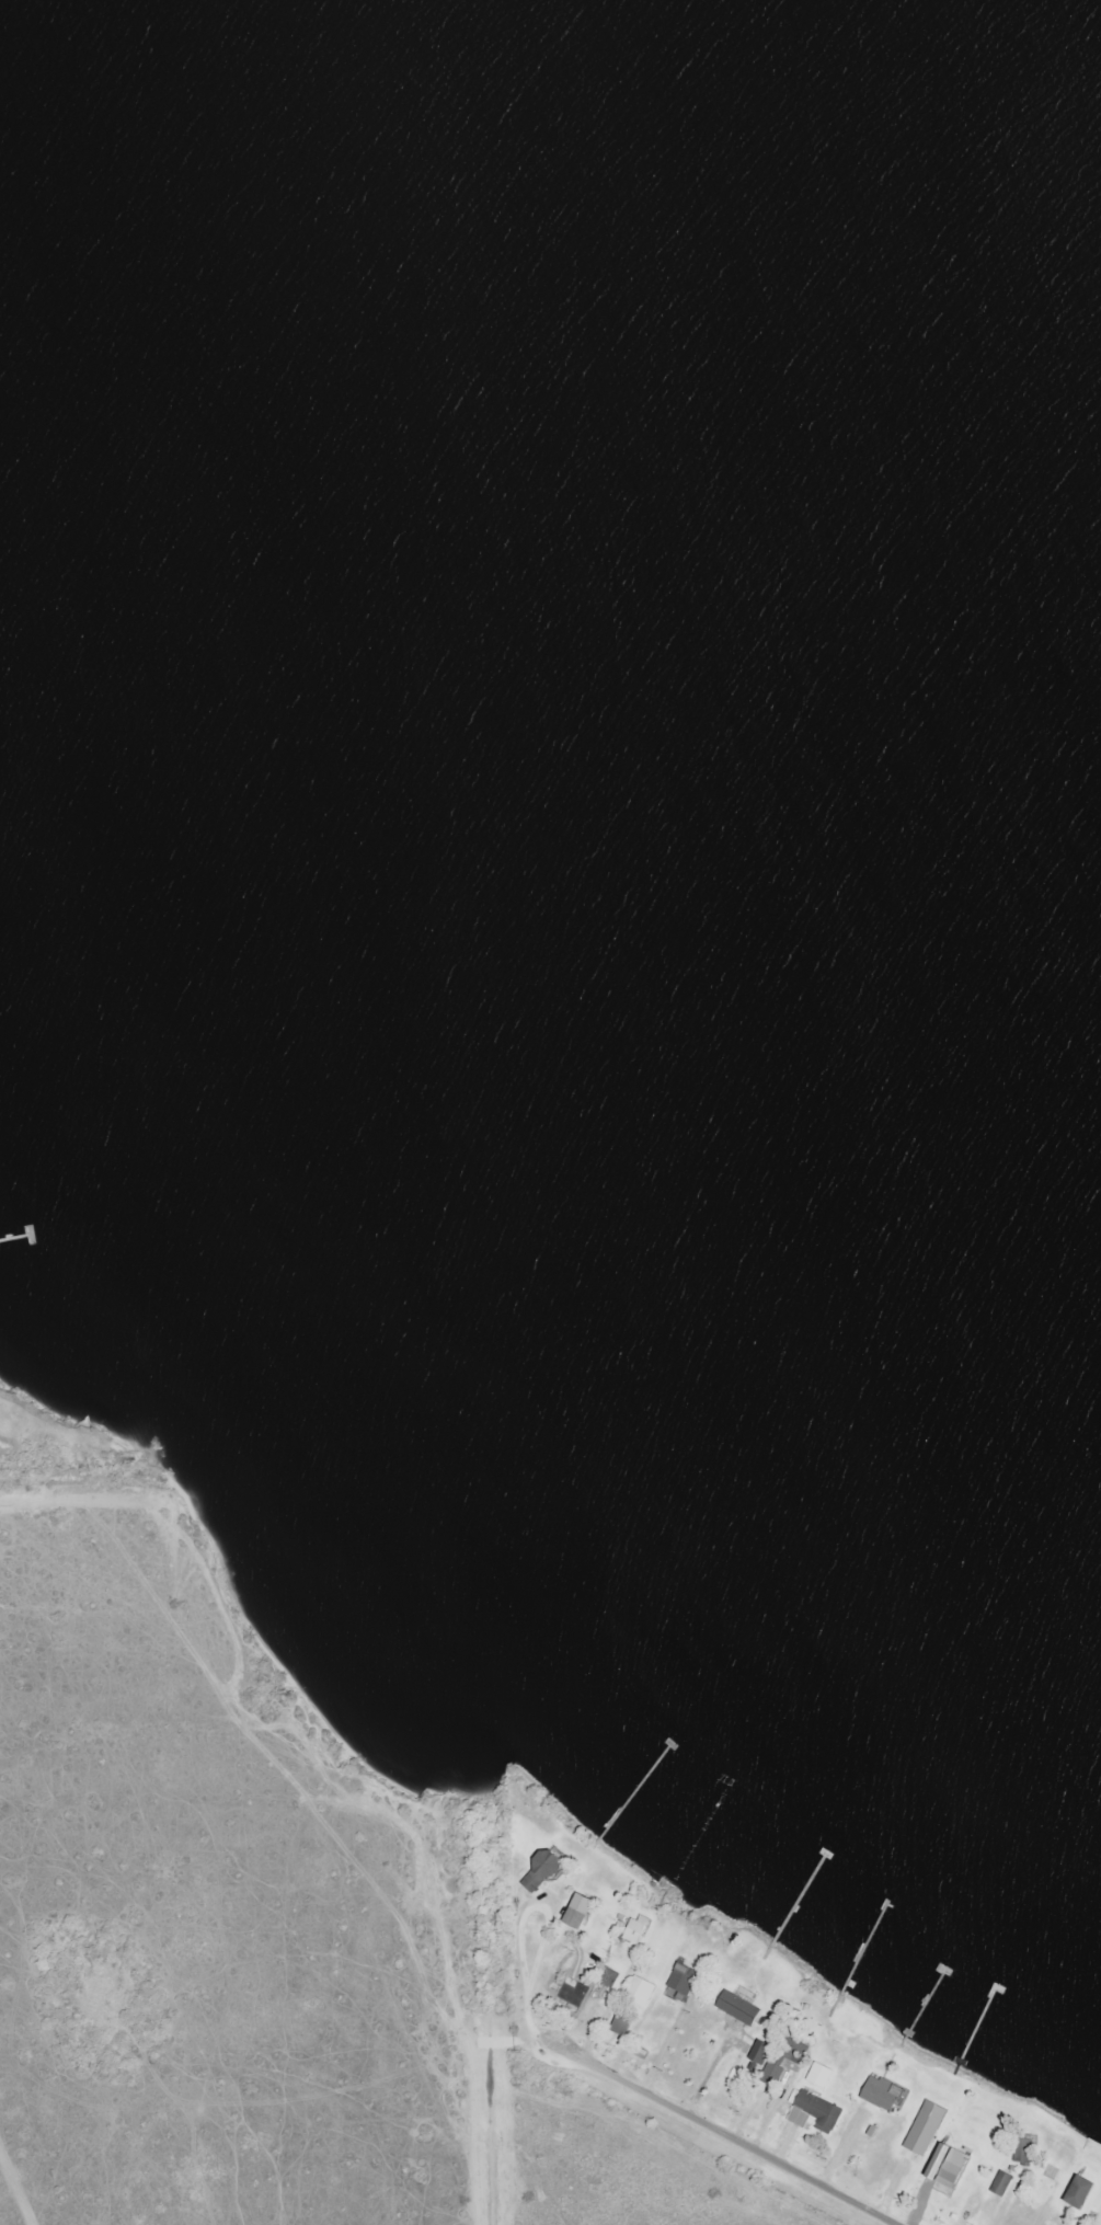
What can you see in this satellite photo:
pier: (634, 1791)
building: (544, 1870)
pier: (799, 1897)
building: (582, 1912)
building: (638, 1930)
pier: (864, 1949)
building: (610, 1979)
building: (684, 1980)
building: (641, 1992)
pier: (925, 2005)
building: (741, 2009)
building: (622, 2025)
pier: (977, 2025)
building: (761, 2053)
building: (787, 2063)
building: (883, 2095)
building: (816, 2113)
road: (729, 2130)
building: (1025, 2152)
building: (950, 2167)
building: (1002, 2183)
building: (1082, 2193)

